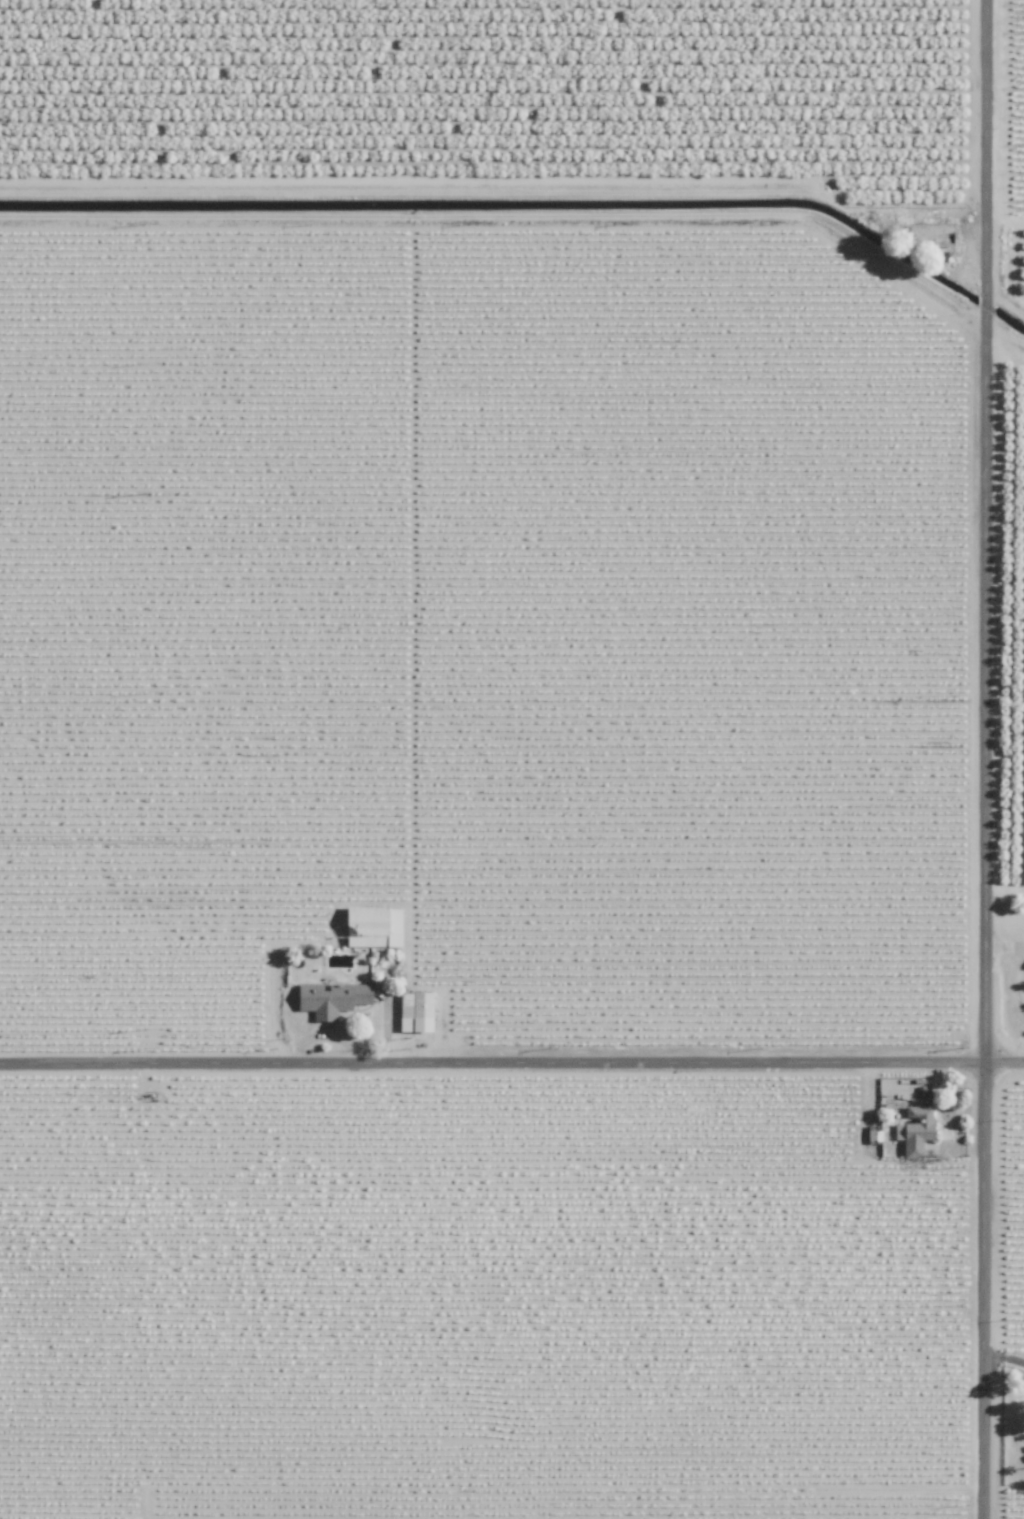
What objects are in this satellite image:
road: (988, 759)
building: (376, 926)
building: (333, 999)
building: (418, 1011)
road: (512, 1065)
building: (919, 1130)
road: (1004, 1356)

